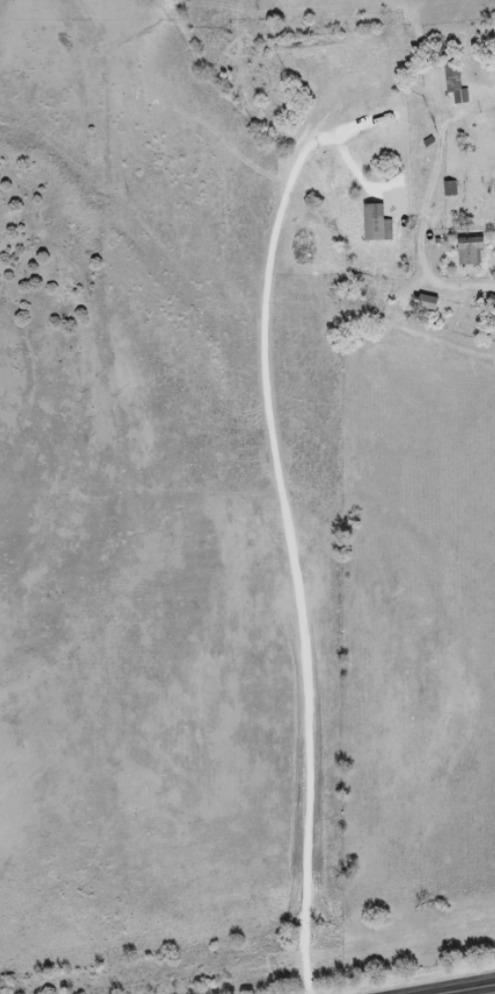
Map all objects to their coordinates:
building: (455, 83)
road: (355, 166)
building: (449, 189)
building: (476, 202)
building: (375, 224)
building: (466, 251)
building: (491, 303)
building: (424, 306)
road: (289, 536)
road: (149, 591)
road: (292, 613)
road: (19, 701)
road: (45, 820)
road: (472, 990)

